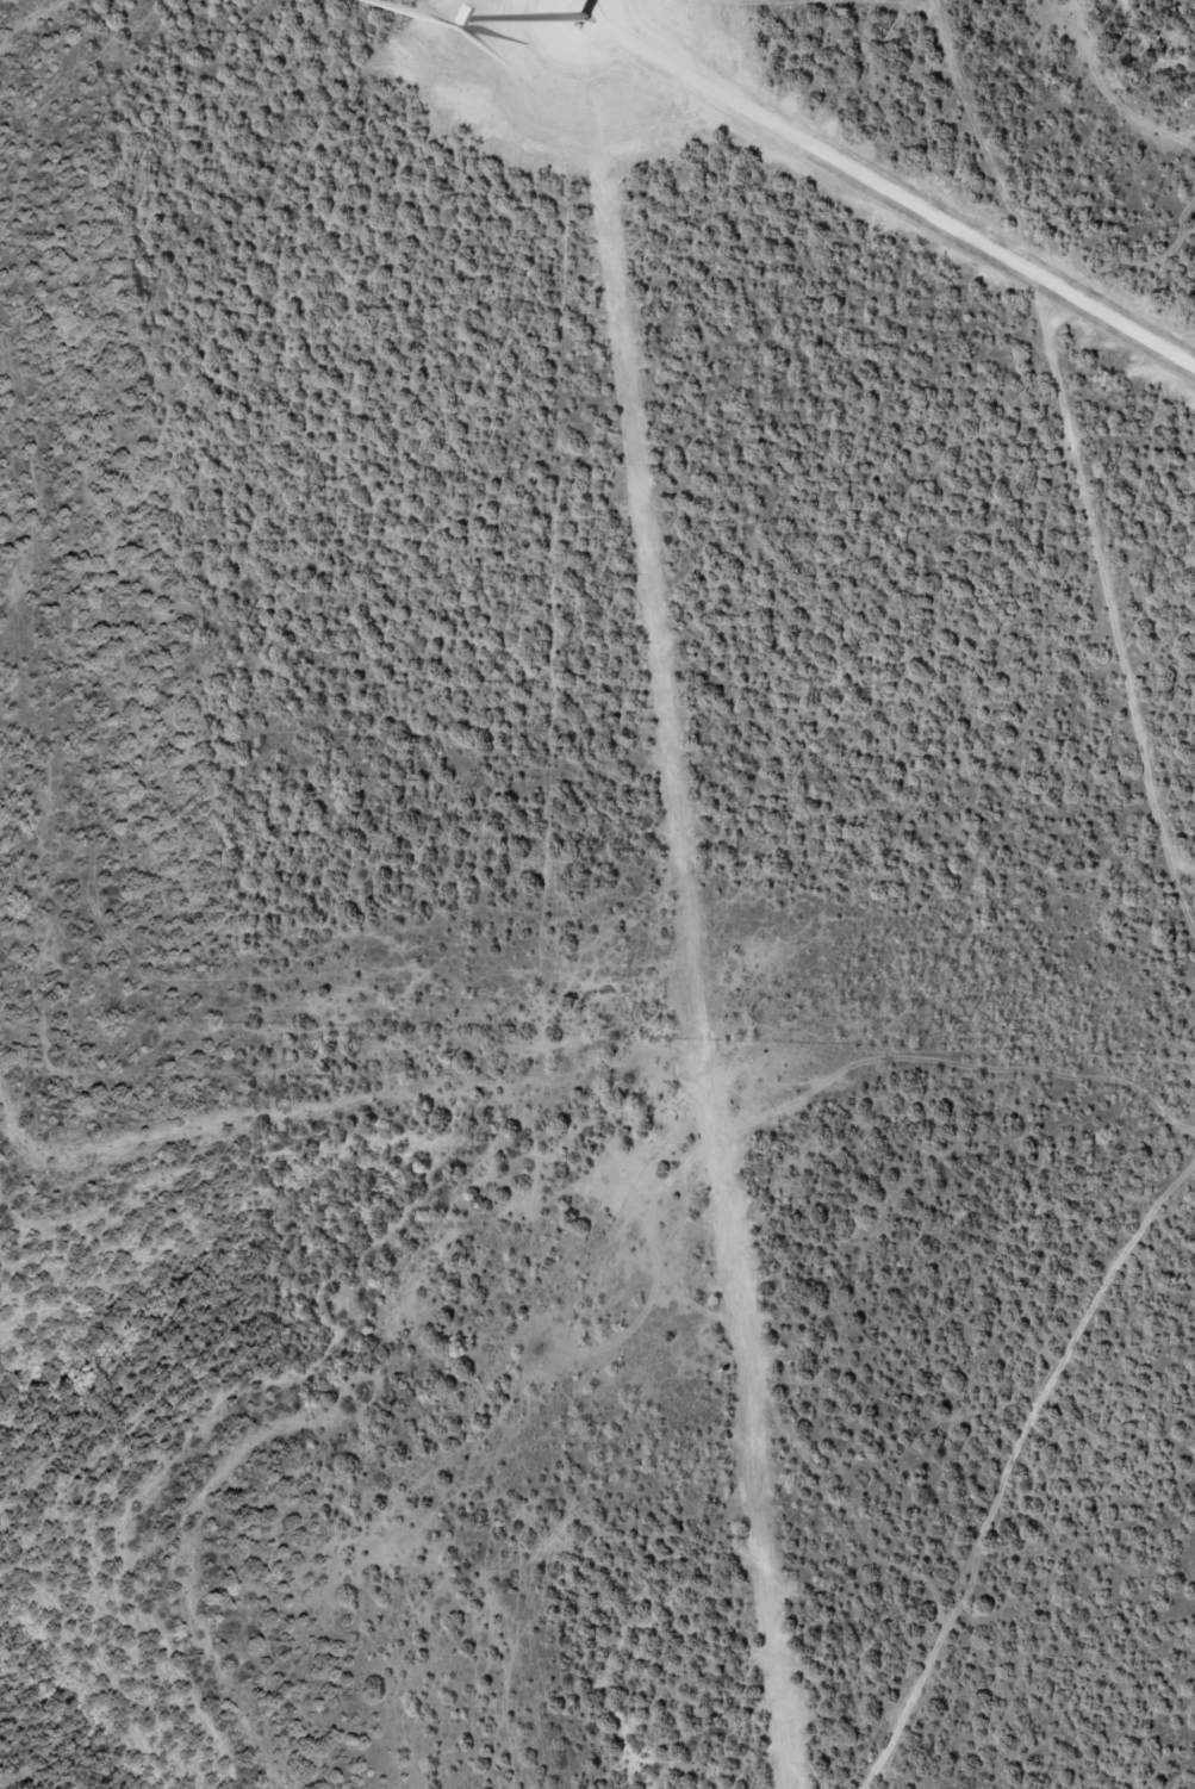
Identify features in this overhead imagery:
wind turbine: (575, 12)
road: (1078, 398)
road: (1025, 1448)

